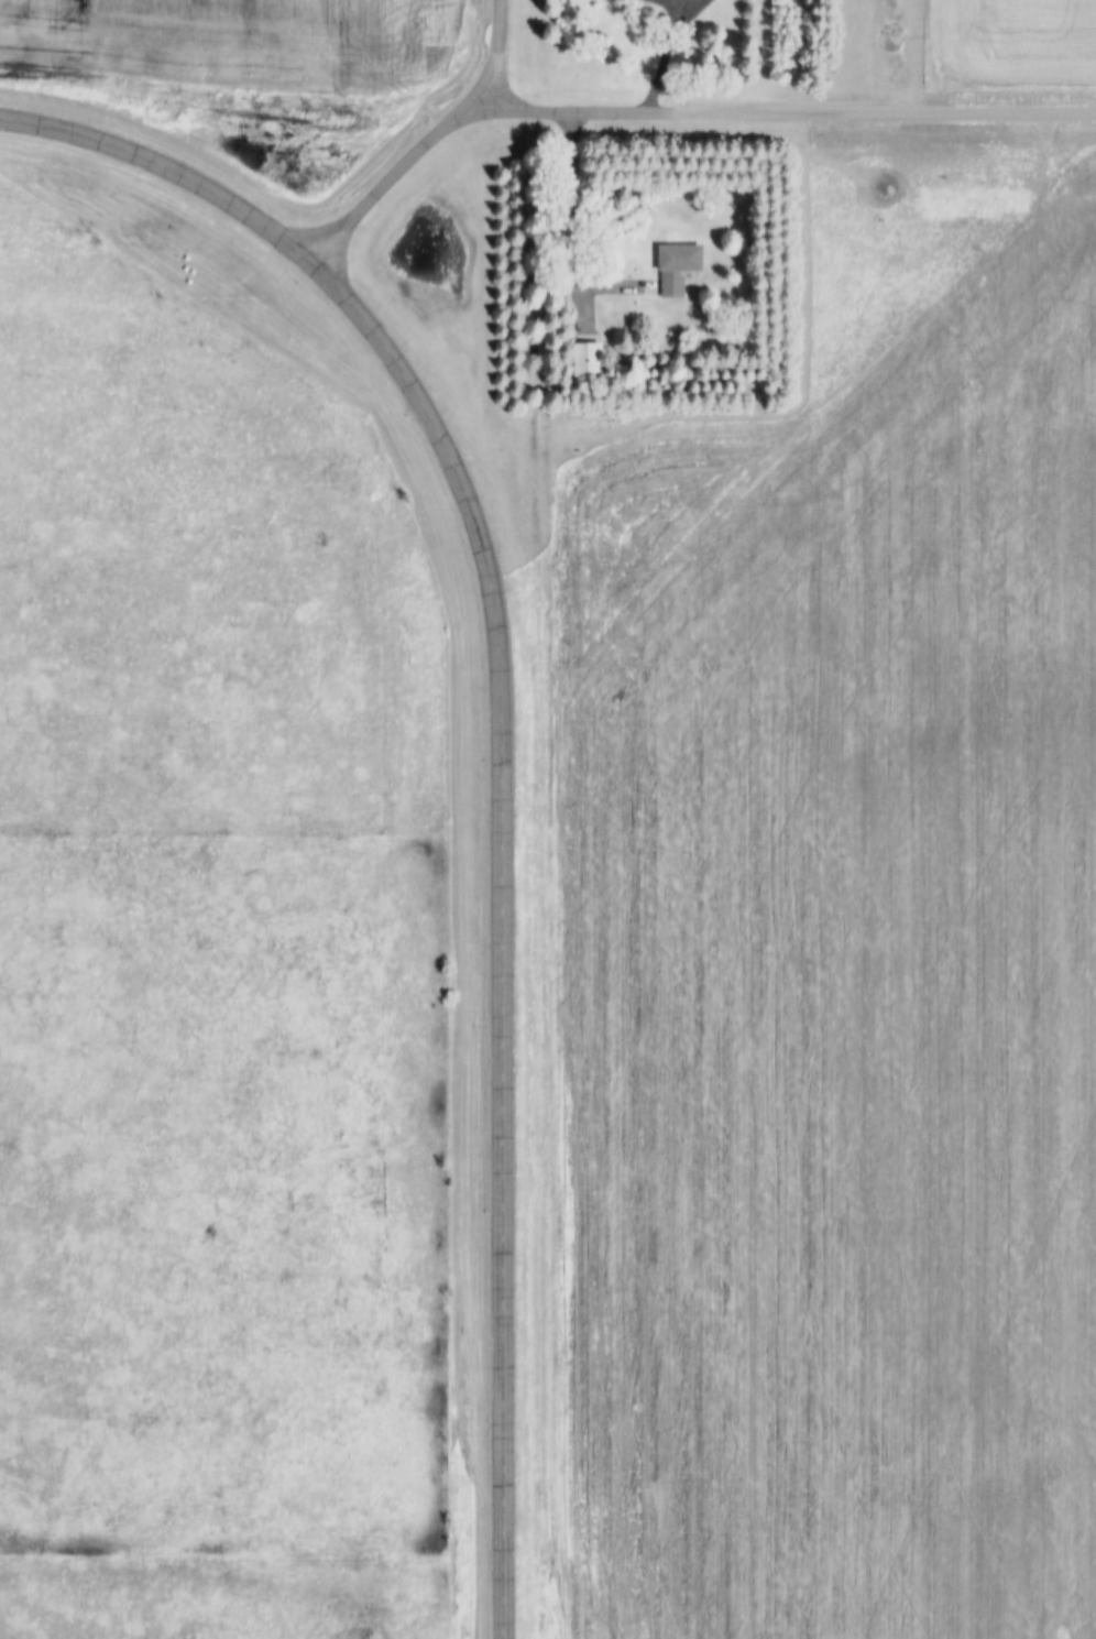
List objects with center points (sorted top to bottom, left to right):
road: (505, 53)
road: (668, 55)
road: (574, 109)
road: (870, 114)
road: (401, 168)
road: (580, 231)
road: (285, 236)
building: (679, 262)
building: (589, 357)
road: (511, 1058)

